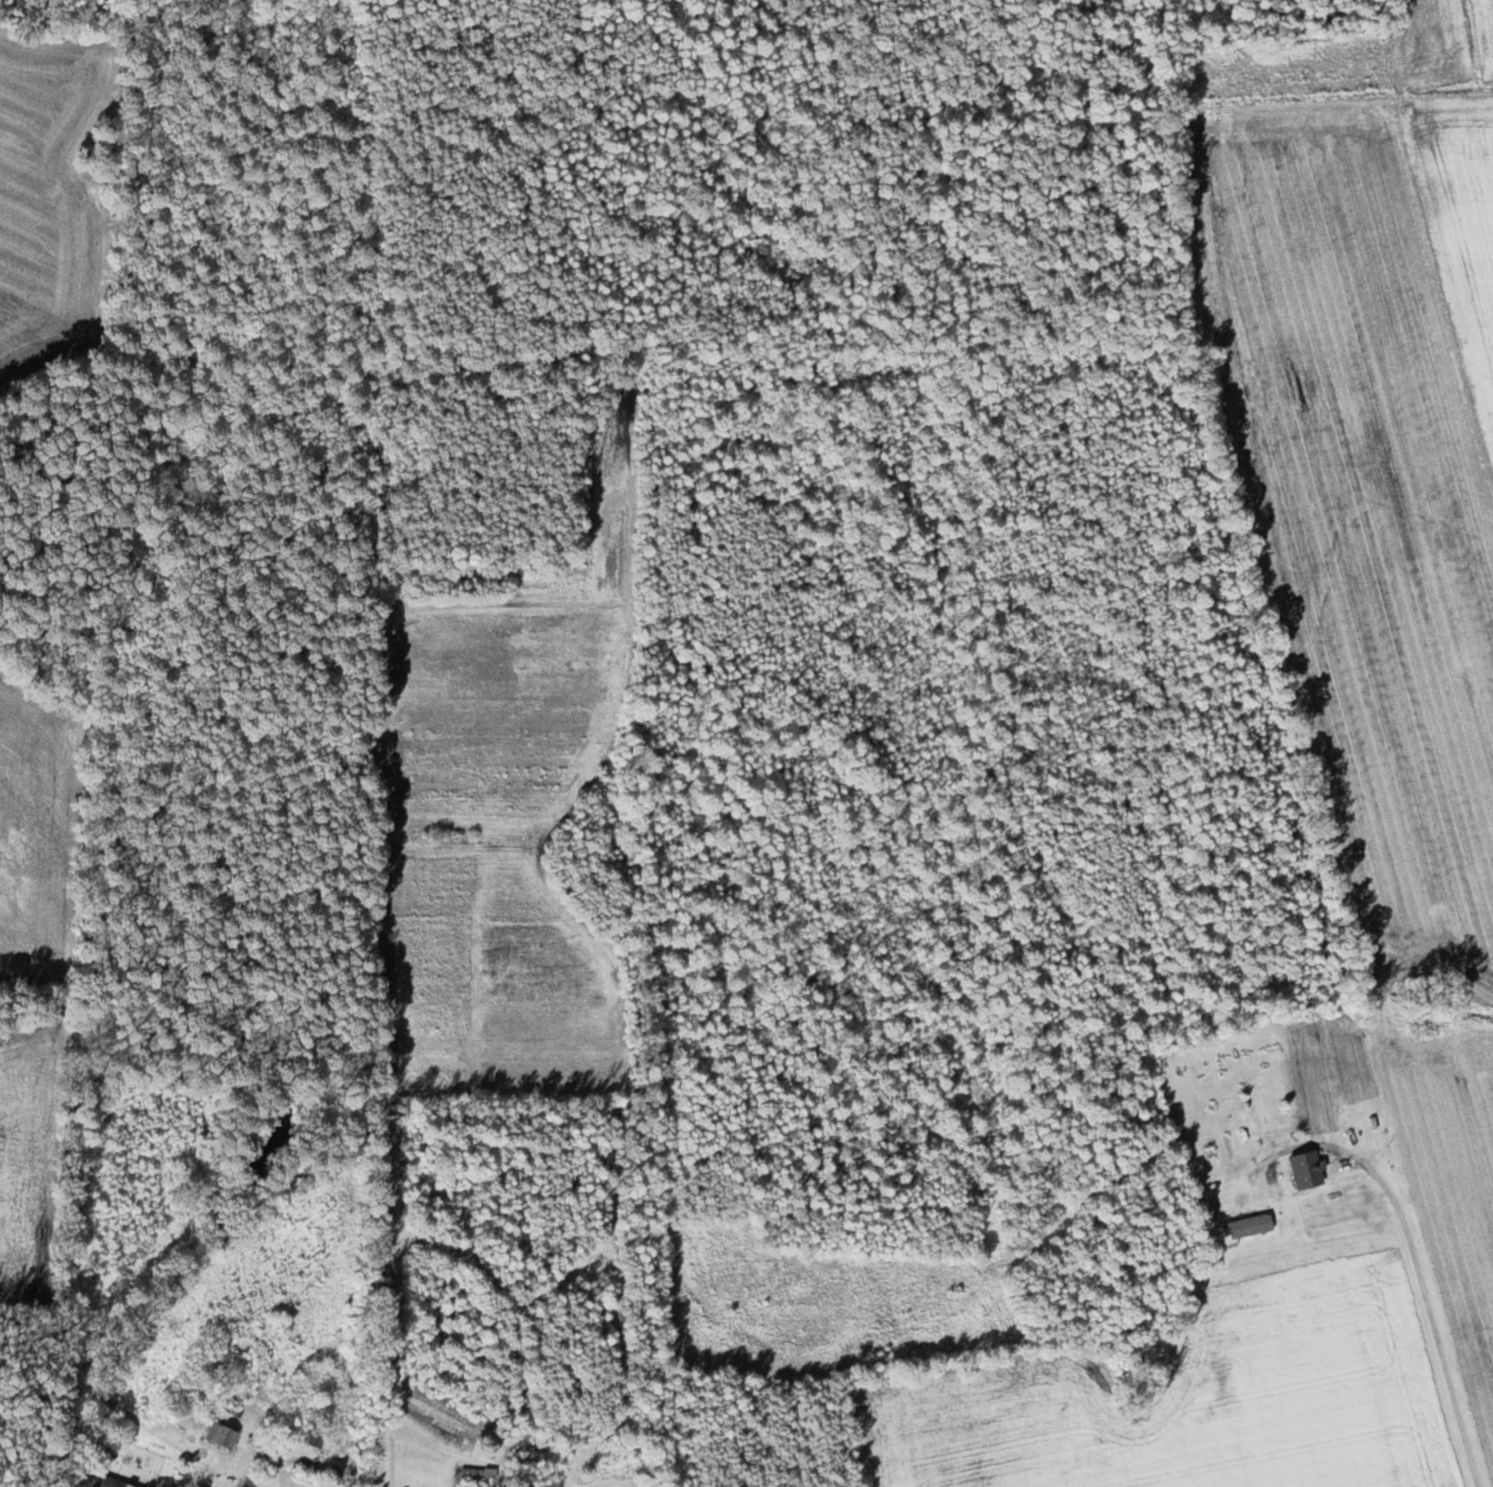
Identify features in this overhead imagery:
building: (1303, 1171)
building: (1247, 1227)
road: (1417, 1260)
building: (217, 1435)
building: (306, 1436)
building: (485, 1472)
building: (251, 1479)
building: (107, 1482)
building: (466, 1486)

